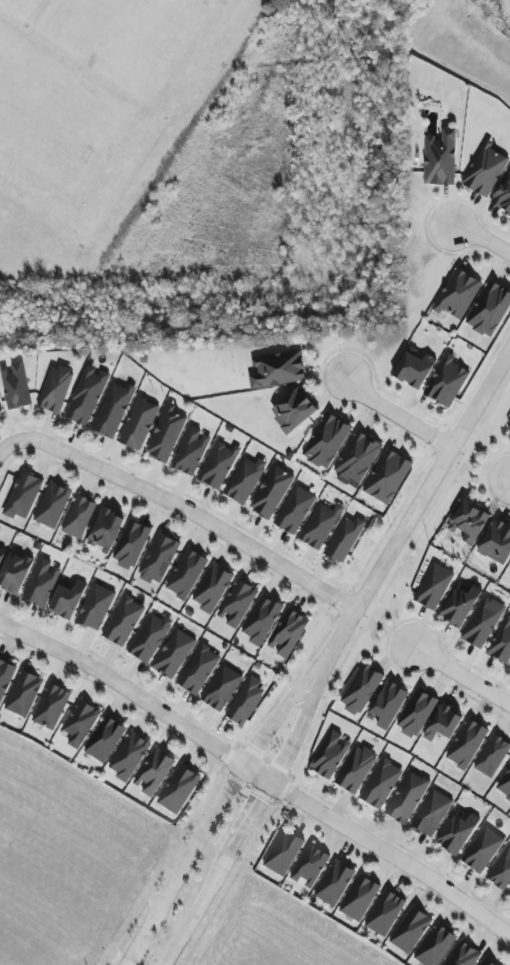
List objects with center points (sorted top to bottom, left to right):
building: (440, 158)
building: (485, 172)
building: (503, 195)
road: (480, 237)
park: (508, 238)
building: (458, 294)
building: (490, 310)
building: (415, 368)
building: (278, 369)
building: (447, 381)
building: (16, 385)
building: (56, 389)
building: (87, 396)
building: (0, 409)
building: (113, 410)
building: (294, 410)
road: (395, 414)
building: (139, 424)
building: (509, 430)
building: (166, 435)
building: (326, 440)
road: (10, 443)
building: (191, 451)
building: (357, 460)
building: (219, 465)
building: (387, 477)
building: (245, 480)
building: (271, 492)
road: (423, 493)
building: (23, 495)
building: (52, 505)
building: (295, 510)
road: (194, 515)
building: (79, 517)
building: (468, 522)
building: (320, 525)
building: (106, 530)
building: (344, 540)
building: (497, 543)
building: (131, 545)
building: (1, 554)
building: (159, 558)
building: (509, 571)
building: (15, 573)
building: (186, 574)
building: (42, 583)
building: (434, 587)
building: (212, 588)
building: (67, 600)
building: (237, 604)
building: (460, 604)
building: (96, 607)
building: (261, 620)
building: (123, 621)
building: (483, 622)
building: (288, 633)
building: (150, 637)
building: (501, 643)
building: (174, 654)
building: (199, 669)
road: (461, 673)
building: (5, 678)
building: (221, 688)
building: (361, 689)
building: (23, 694)
building: (246, 701)
building: (387, 705)
building: (51, 706)
building: (416, 713)
building: (443, 723)
building: (80, 724)
building: (106, 740)
building: (467, 744)
building: (330, 755)
building: (129, 756)
building: (493, 756)
building: (356, 769)
building: (154, 772)
road: (258, 774)
building: (381, 784)
building: (505, 785)
building: (179, 790)
building: (407, 797)
road: (225, 799)
road: (256, 806)
building: (432, 814)
building: (458, 832)
building: (483, 850)
building: (284, 853)
building: (310, 866)
building: (501, 872)
building: (335, 883)
building: (360, 898)
building: (385, 913)
building: (411, 930)
building: (436, 946)
building: (463, 955)
building: (487, 962)

